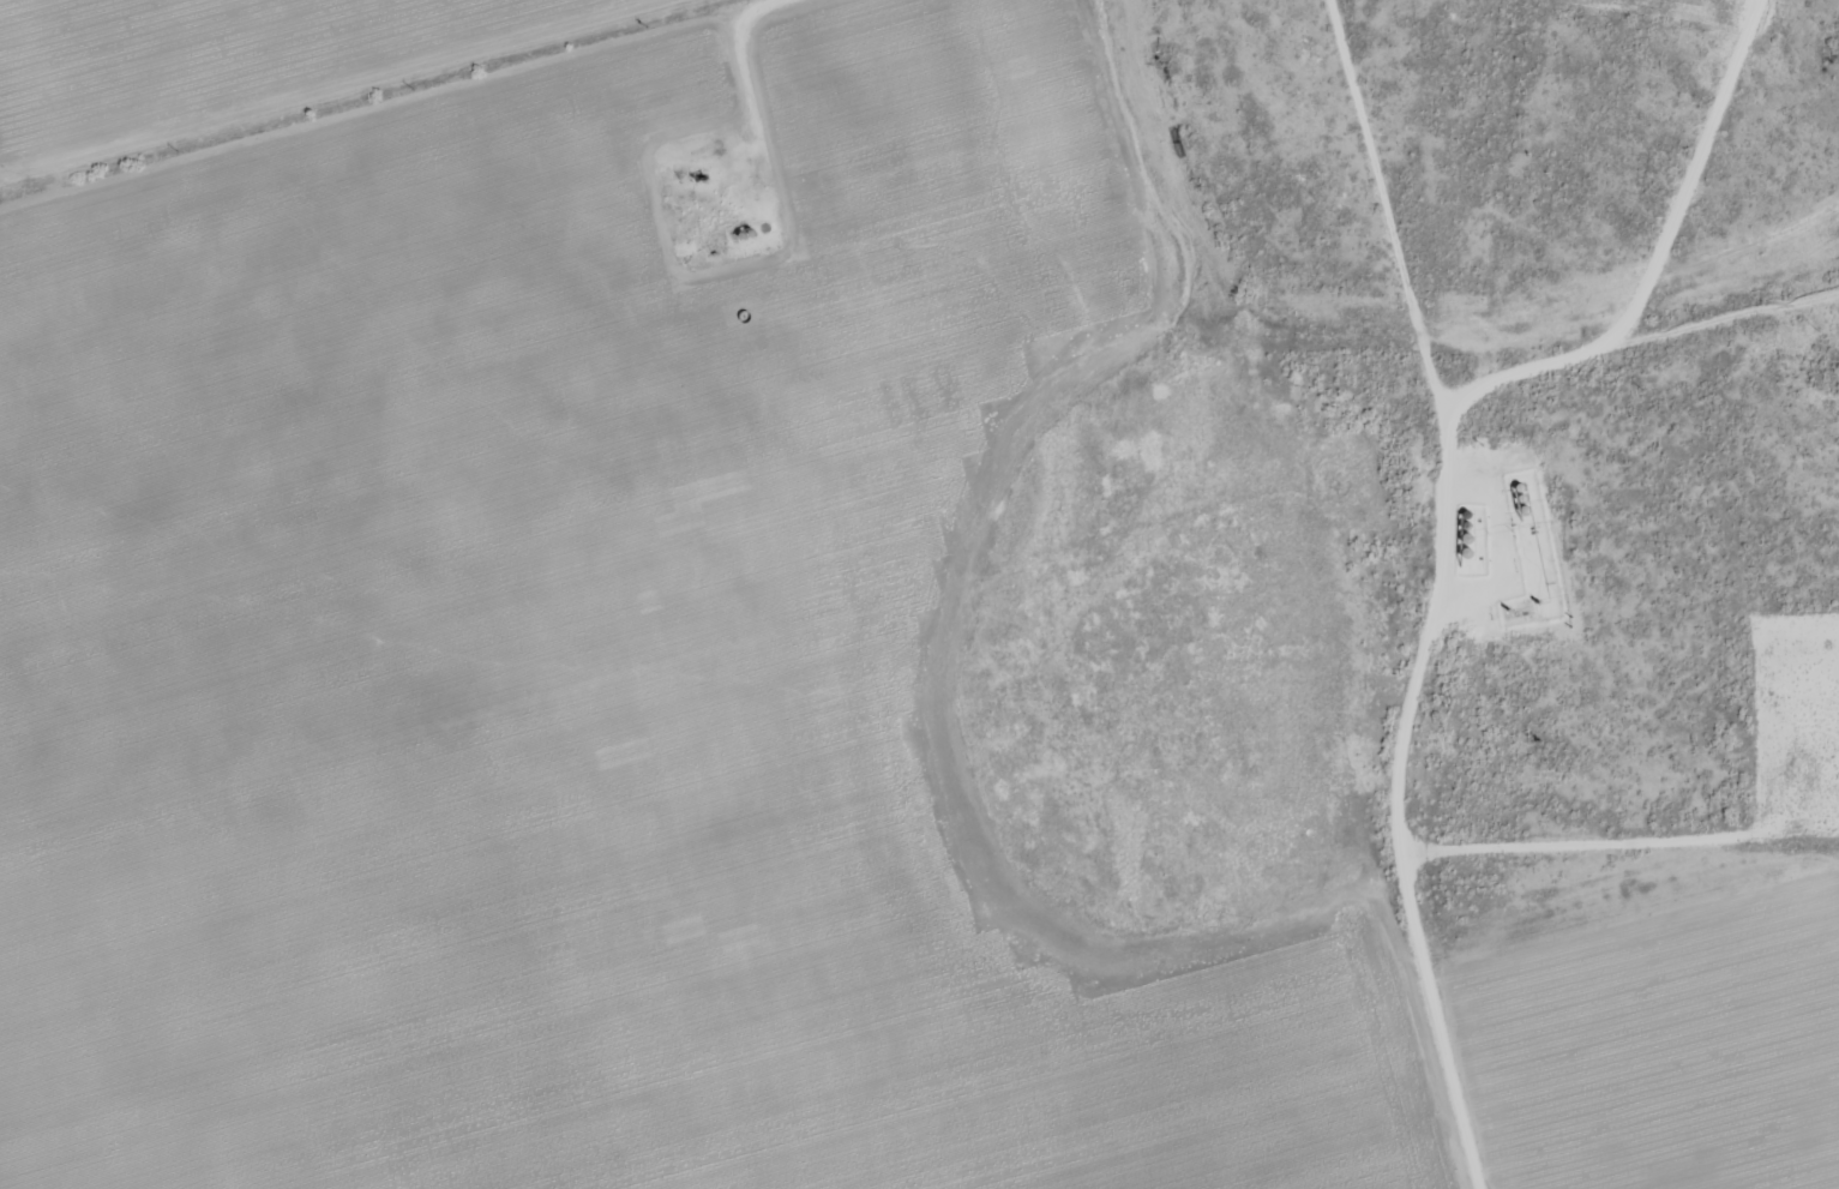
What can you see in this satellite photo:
road: (1654, 264)
road: (1449, 592)

